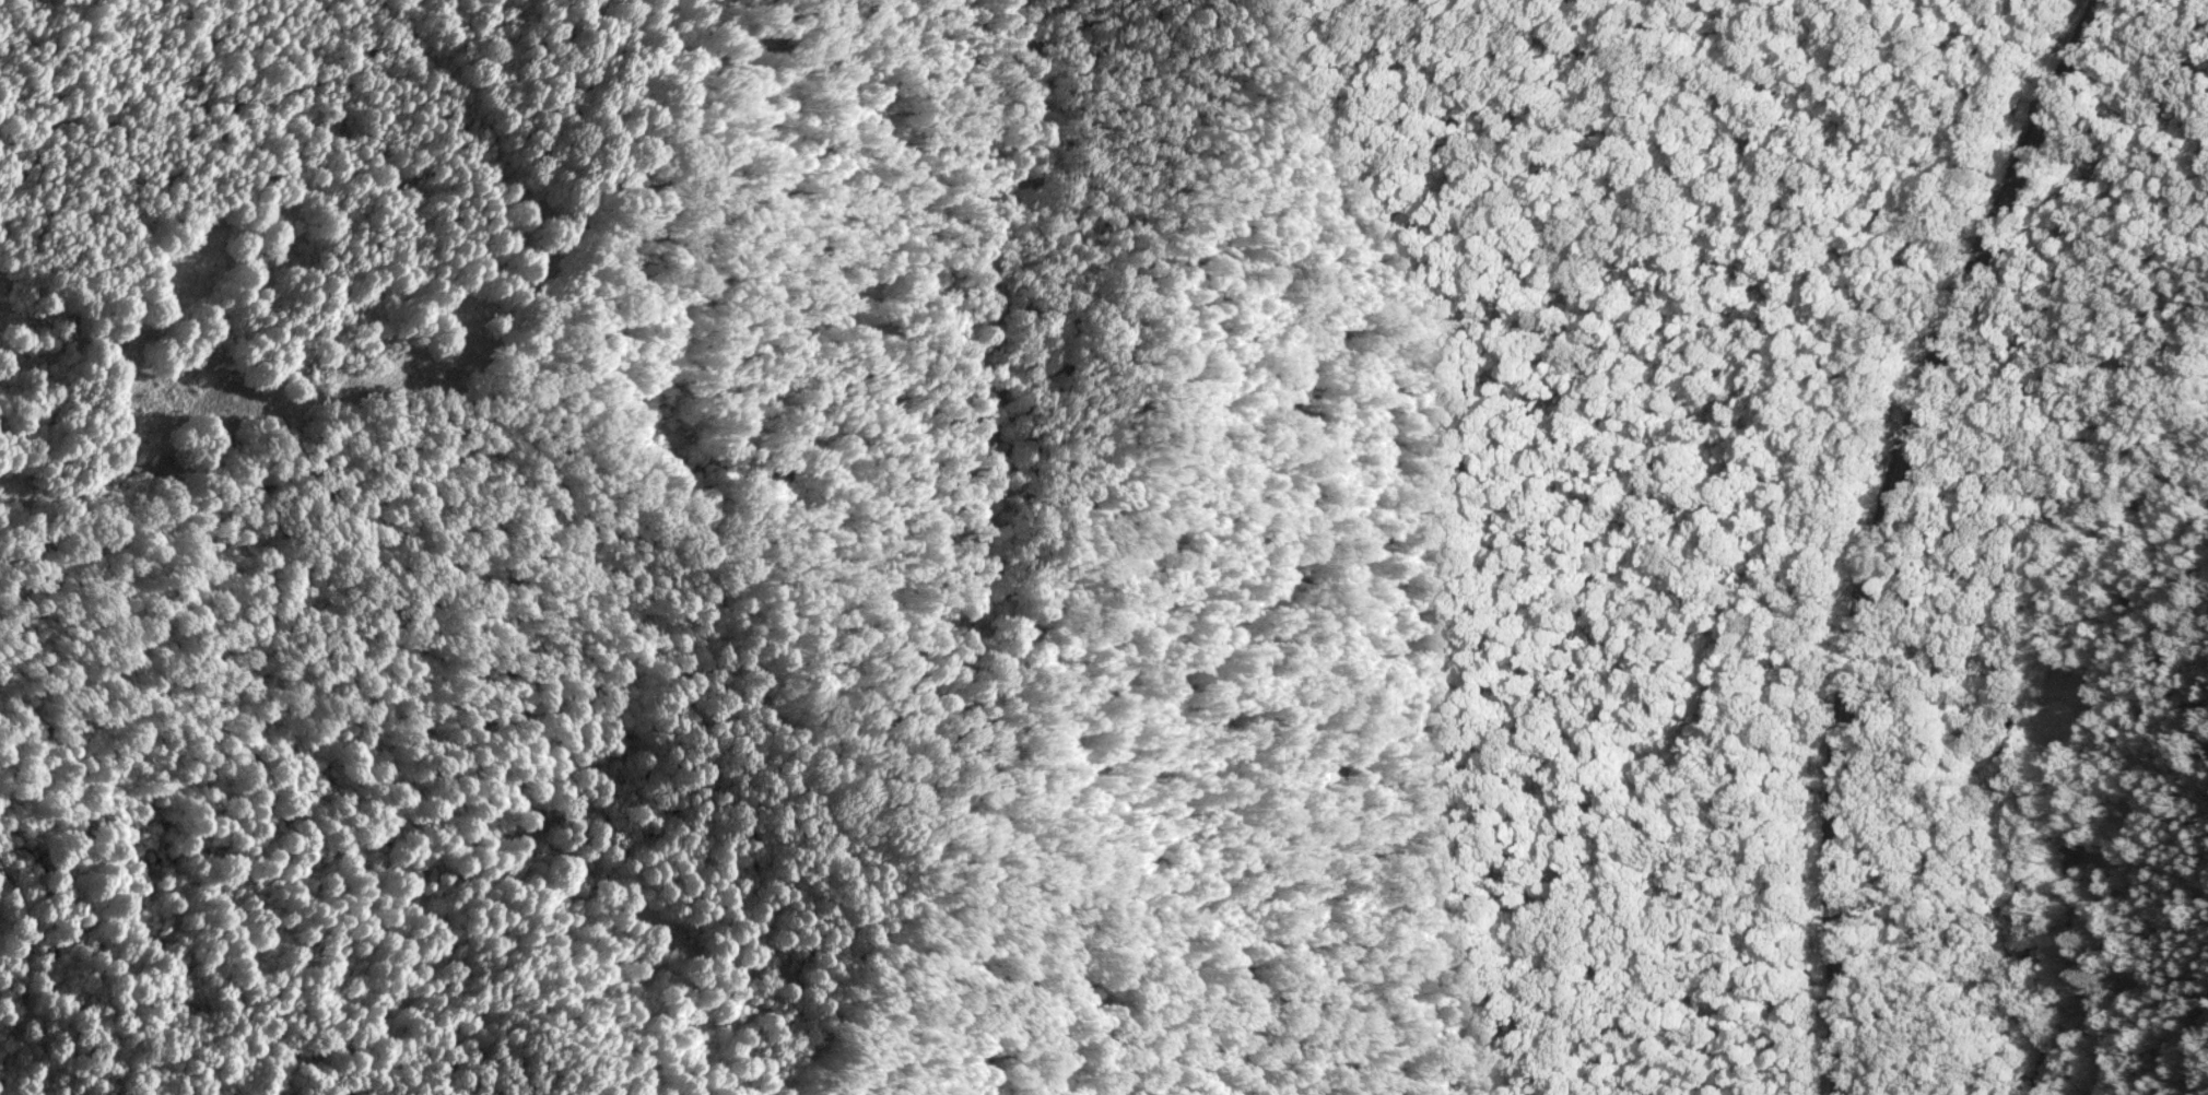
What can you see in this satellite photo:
road: (1887, 528)
road: (2055, 614)
road: (2070, 791)
road: (2107, 1026)

